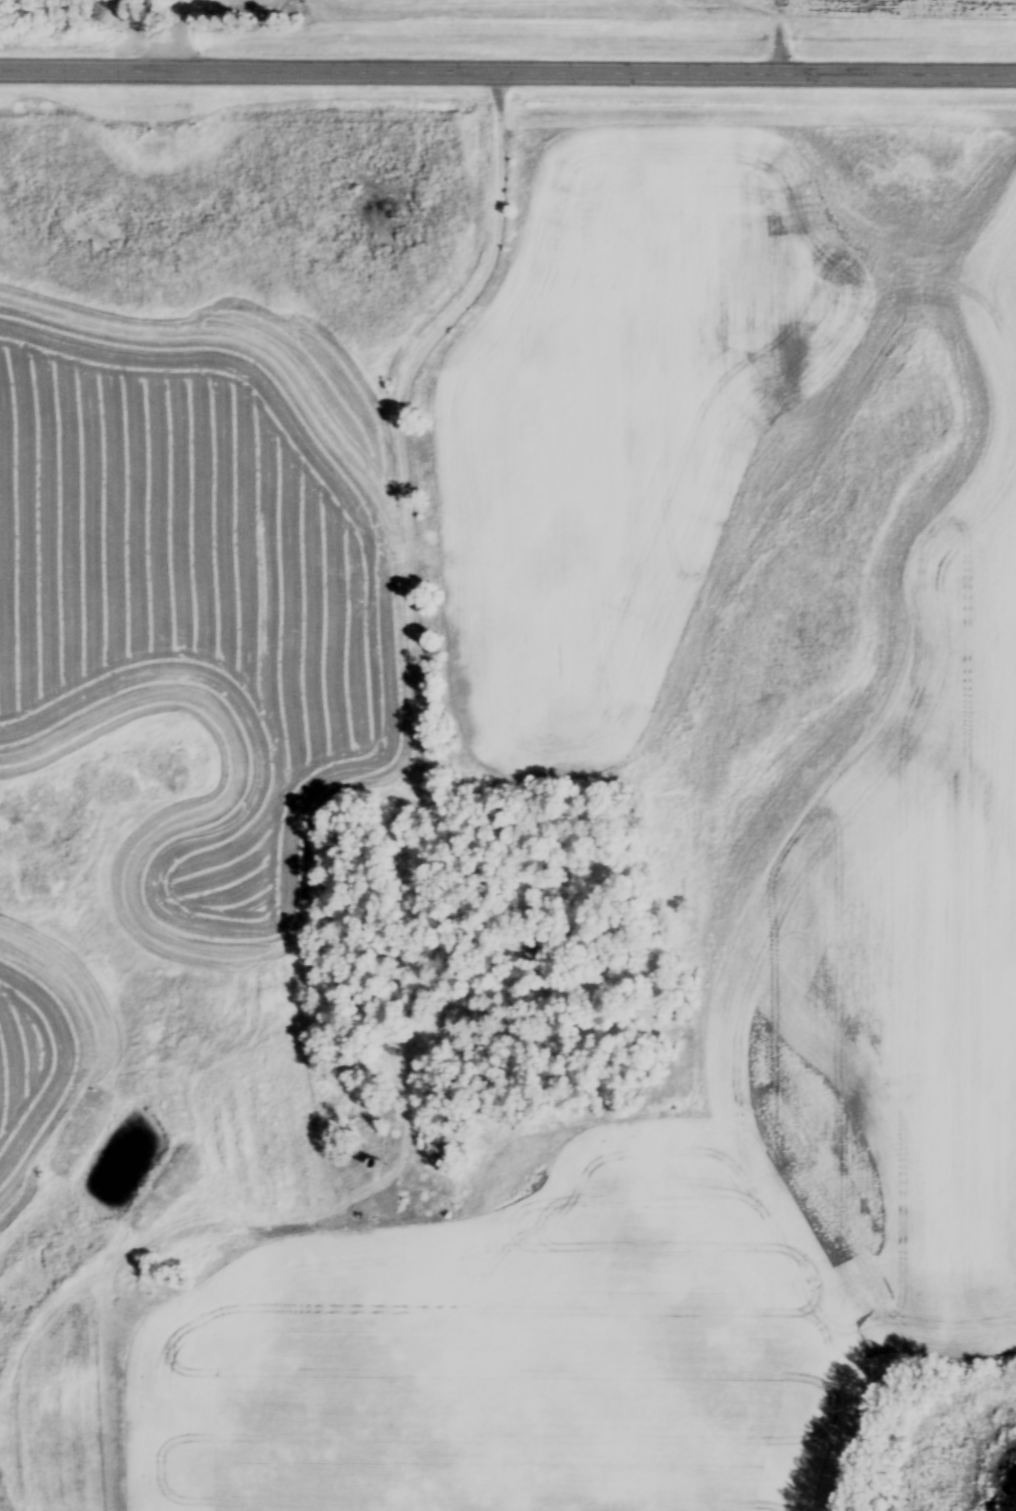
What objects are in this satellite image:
road: (159, 17)
road: (508, 37)
building: (439, 1159)

